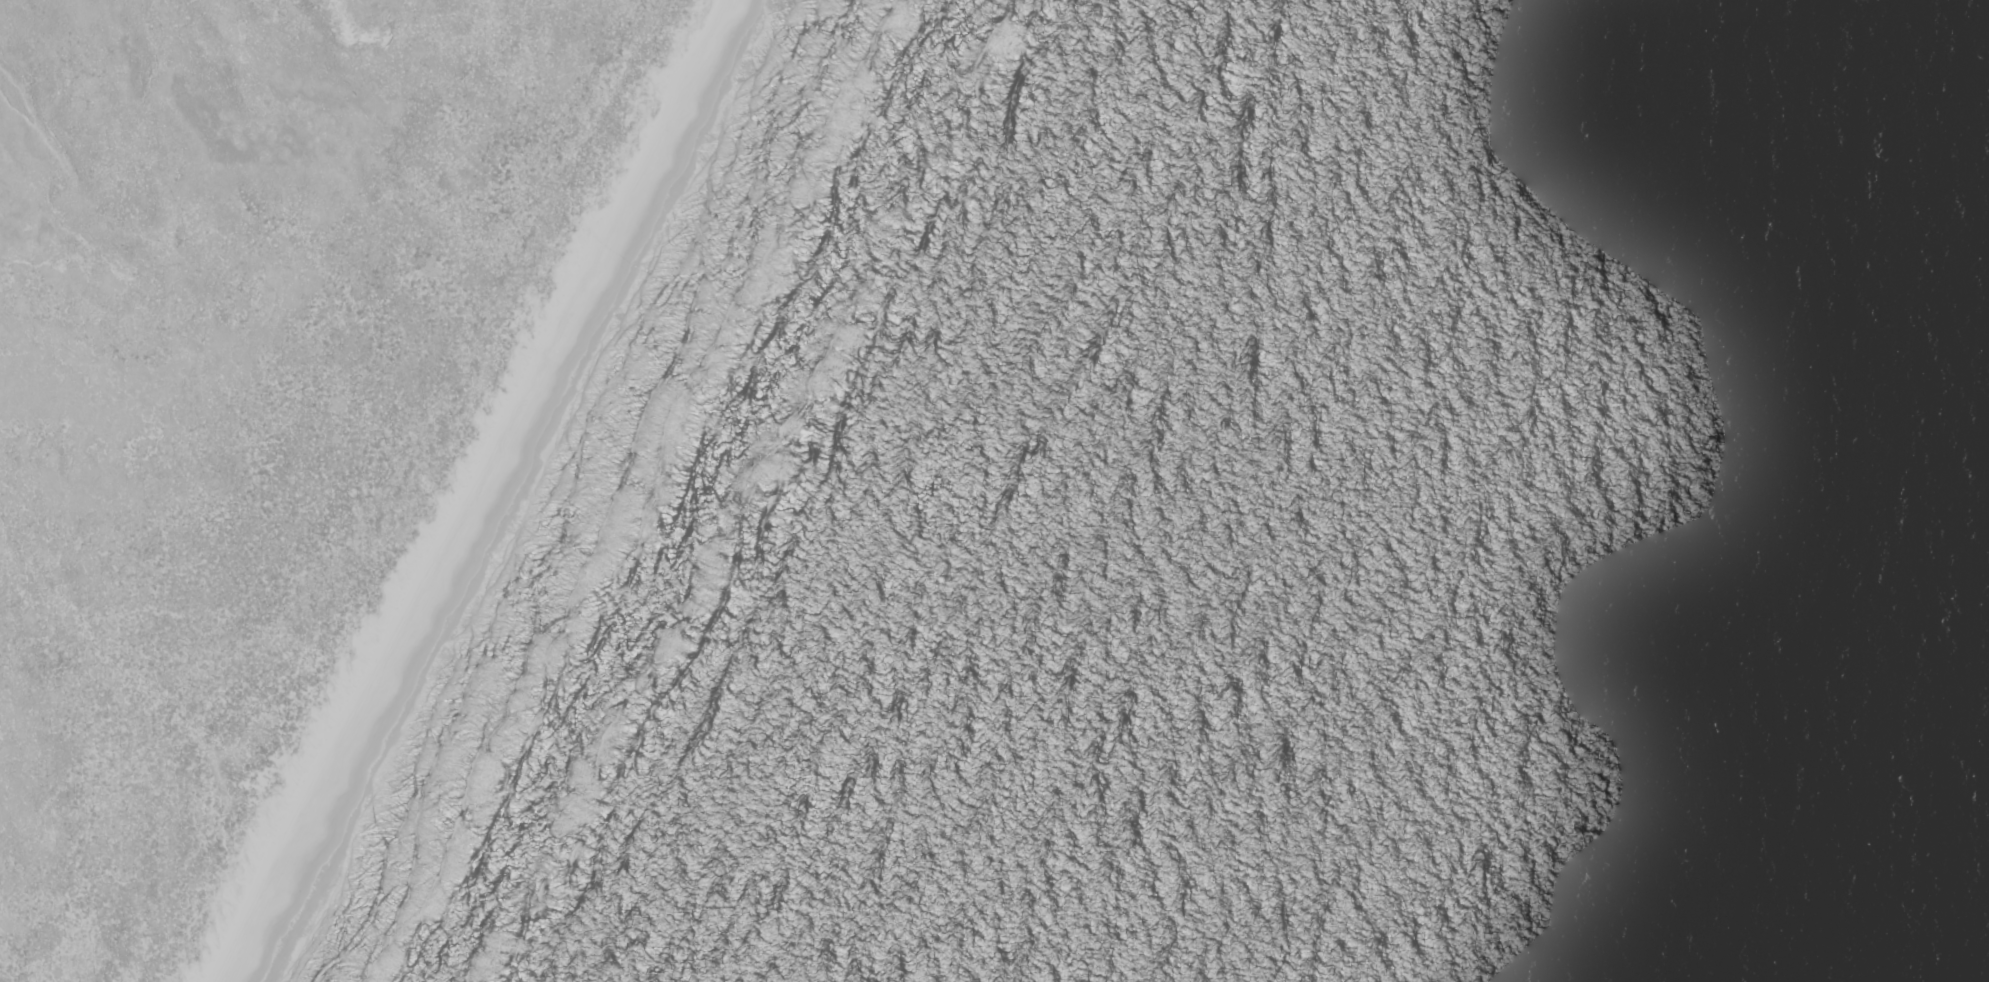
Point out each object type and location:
park: (426, 406)

